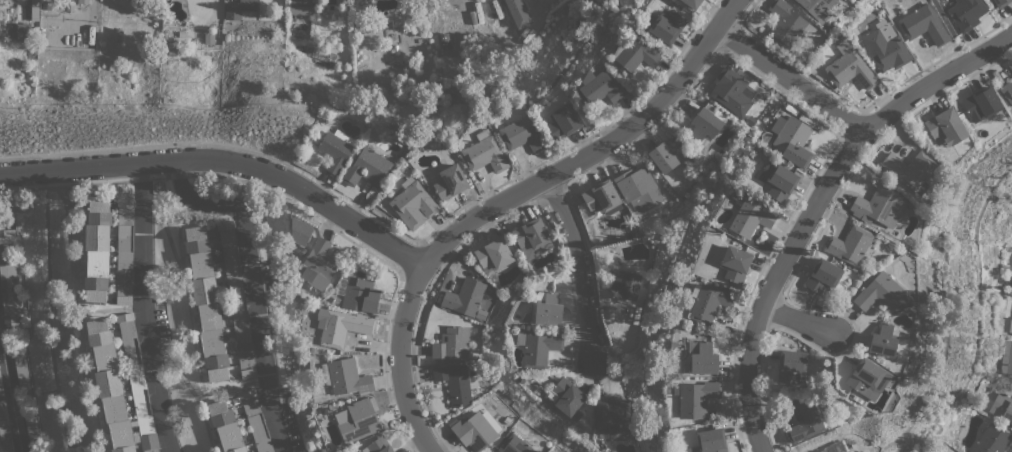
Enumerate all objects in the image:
building: (691, 3)
building: (1001, 3)
building: (300, 7)
building: (817, 8)
building: (247, 9)
building: (34, 10)
building: (232, 11)
building: (365, 11)
building: (965, 12)
building: (517, 13)
building: (923, 22)
building: (786, 24)
building: (664, 25)
building: (21, 32)
building: (443, 40)
building: (885, 47)
building: (634, 54)
building: (1010, 66)
building: (850, 68)
road: (791, 80)
building: (599, 88)
building: (732, 91)
building: (1007, 91)
building: (981, 103)
building: (563, 122)
building: (945, 125)
building: (704, 127)
building: (522, 134)
building: (792, 140)
building: (336, 149)
building: (484, 153)
building: (666, 155)
road: (222, 162)
building: (367, 167)
building: (910, 169)
building: (778, 180)
building: (449, 182)
building: (638, 189)
building: (602, 197)
road: (514, 201)
building: (413, 204)
building: (878, 206)
road: (823, 207)
building: (750, 218)
building: (0, 219)
building: (300, 231)
building: (532, 238)
building: (849, 245)
building: (97, 251)
building: (125, 251)
building: (493, 254)
building: (735, 263)
building: (318, 265)
road: (143, 266)
road: (579, 267)
building: (823, 275)
building: (9, 283)
road: (251, 284)
building: (624, 284)
building: (881, 293)
building: (360, 294)
building: (465, 297)
building: (236, 299)
building: (708, 302)
building: (206, 303)
building: (548, 309)
road: (802, 323)
building: (1010, 325)
building: (343, 327)
building: (882, 340)
building: (453, 343)
building: (537, 346)
building: (700, 357)
building: (1006, 357)
building: (792, 366)
building: (21, 369)
building: (345, 377)
building: (867, 378)
building: (455, 383)
building: (108, 385)
building: (1, 386)
road: (12, 391)
building: (566, 397)
building: (696, 398)
building: (1003, 404)
road: (161, 411)
building: (612, 418)
building: (358, 419)
building: (256, 420)
building: (804, 420)
building: (226, 427)
building: (5, 430)
building: (474, 431)
building: (33, 434)
building: (992, 439)
building: (709, 441)
building: (378, 445)
building: (514, 445)
building: (822, 450)

